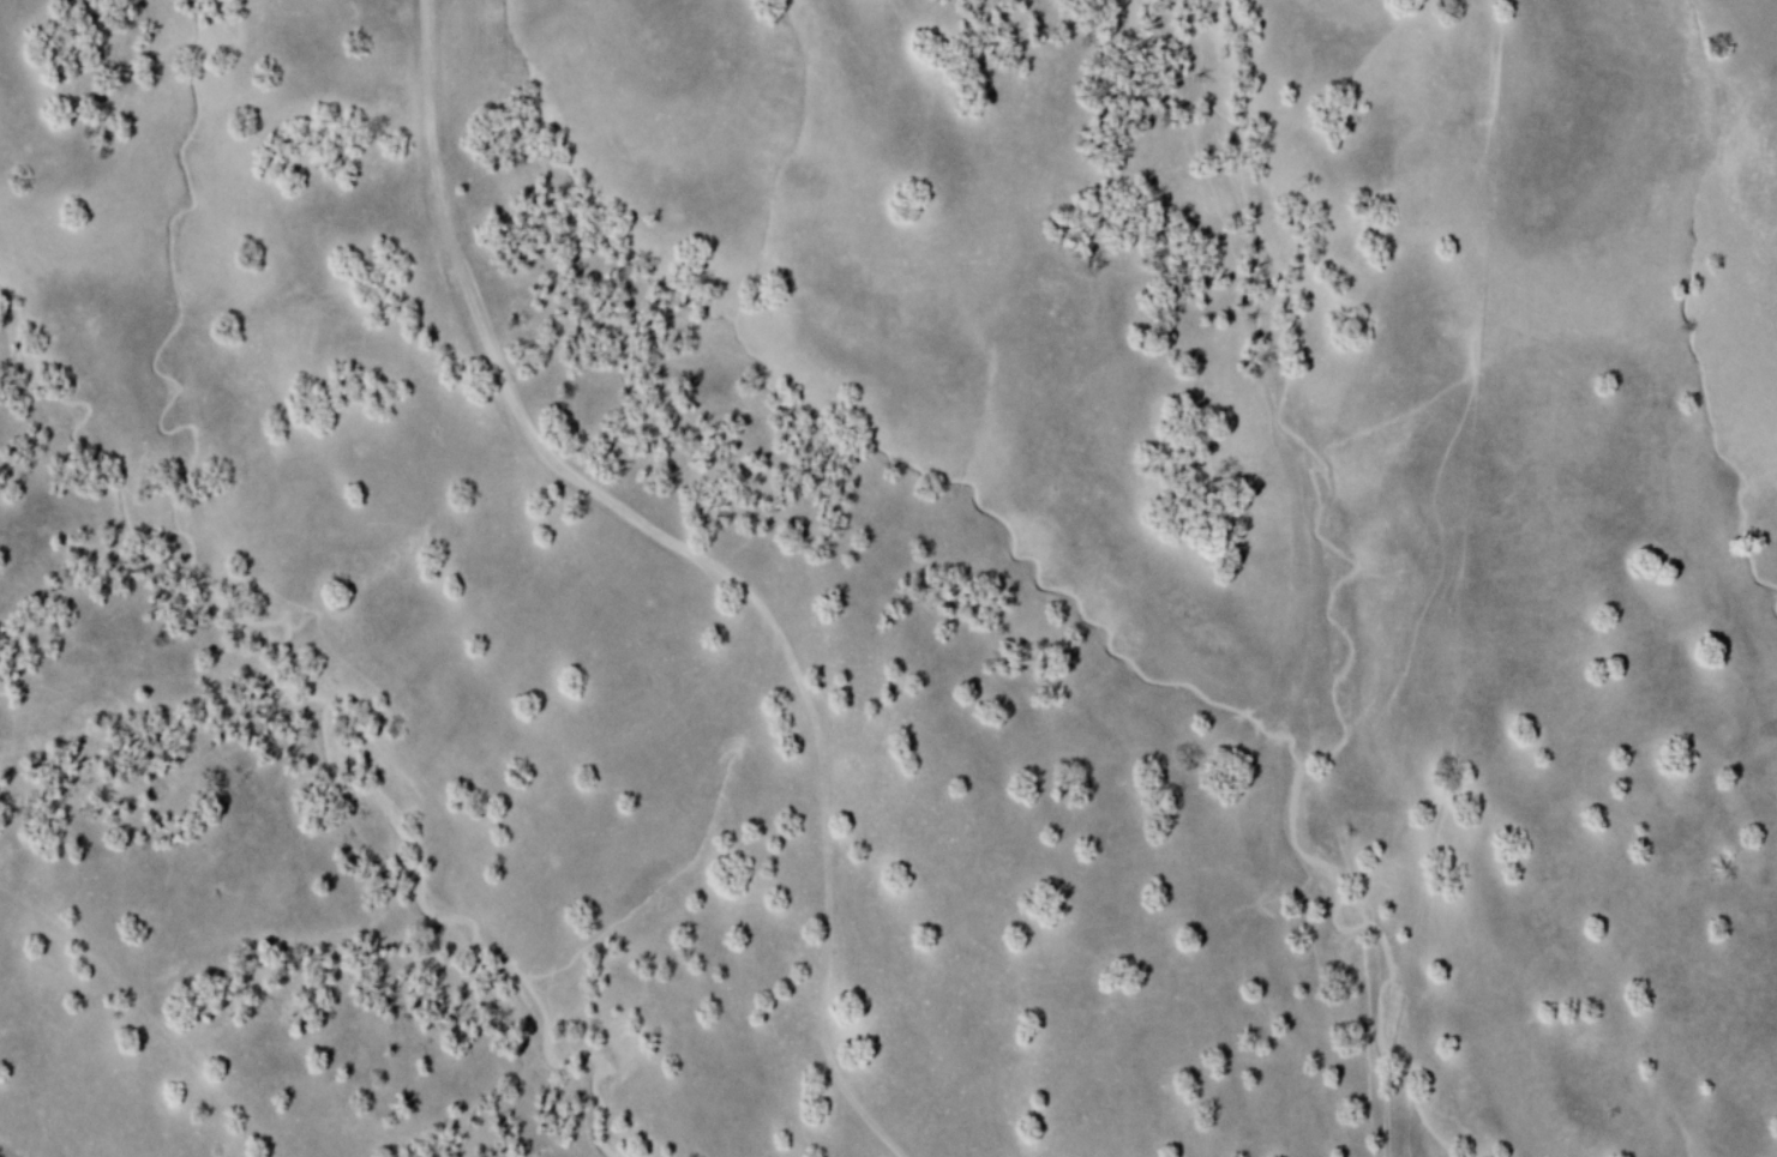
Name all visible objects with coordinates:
road: (702, 559)

